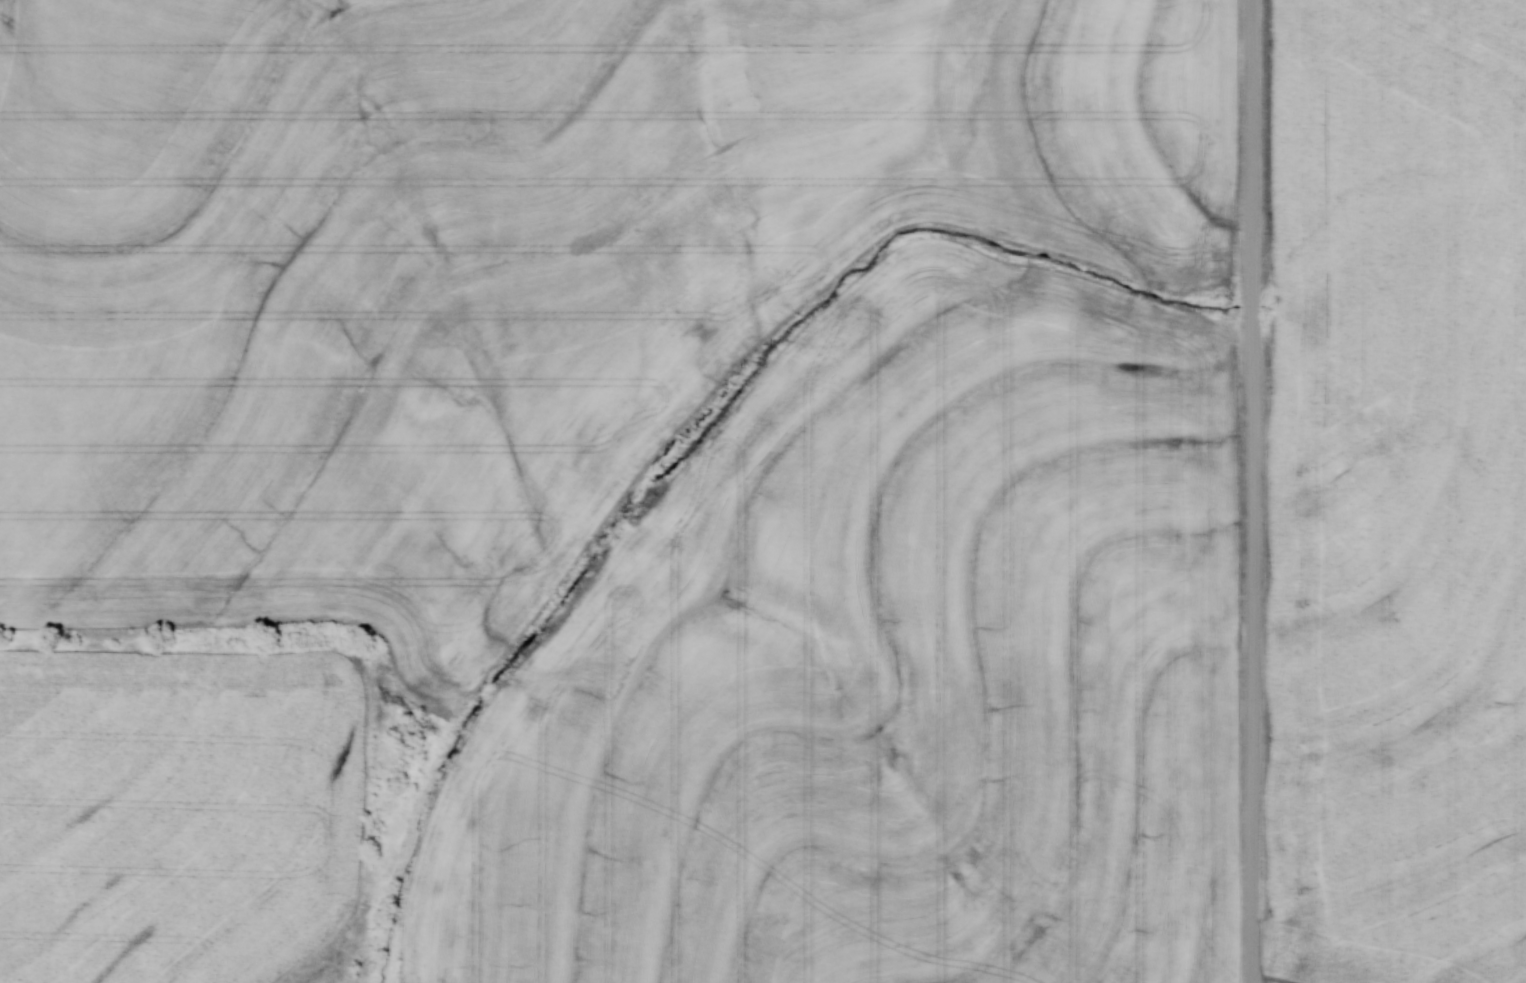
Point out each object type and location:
road: (1255, 491)

